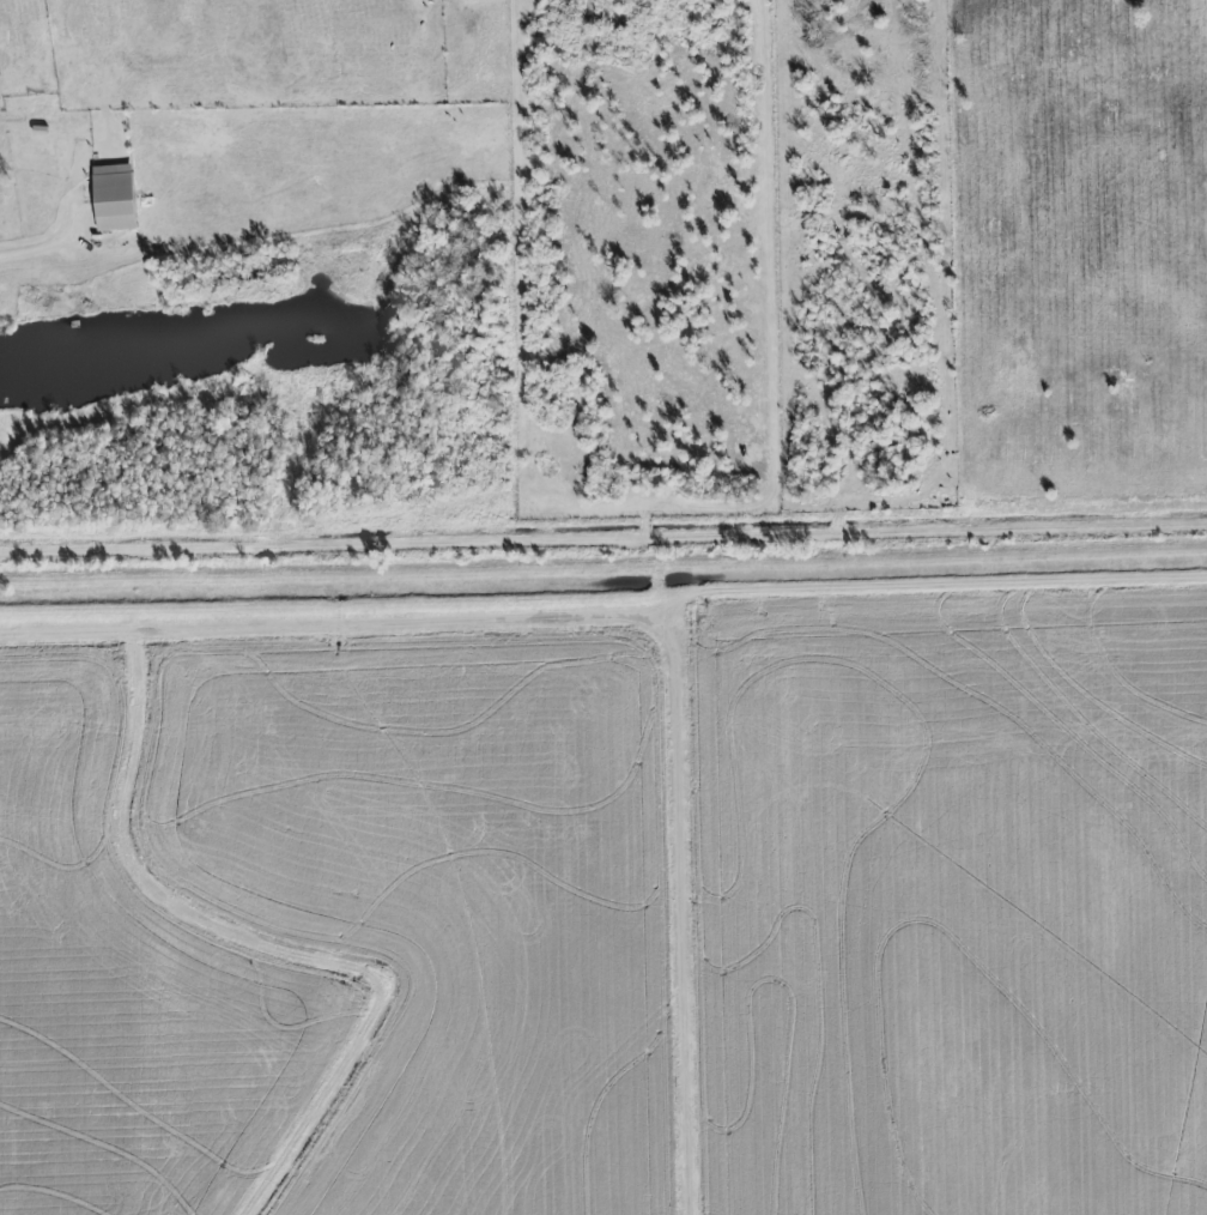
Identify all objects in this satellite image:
building: (114, 198)
road: (38, 250)
road: (657, 603)

